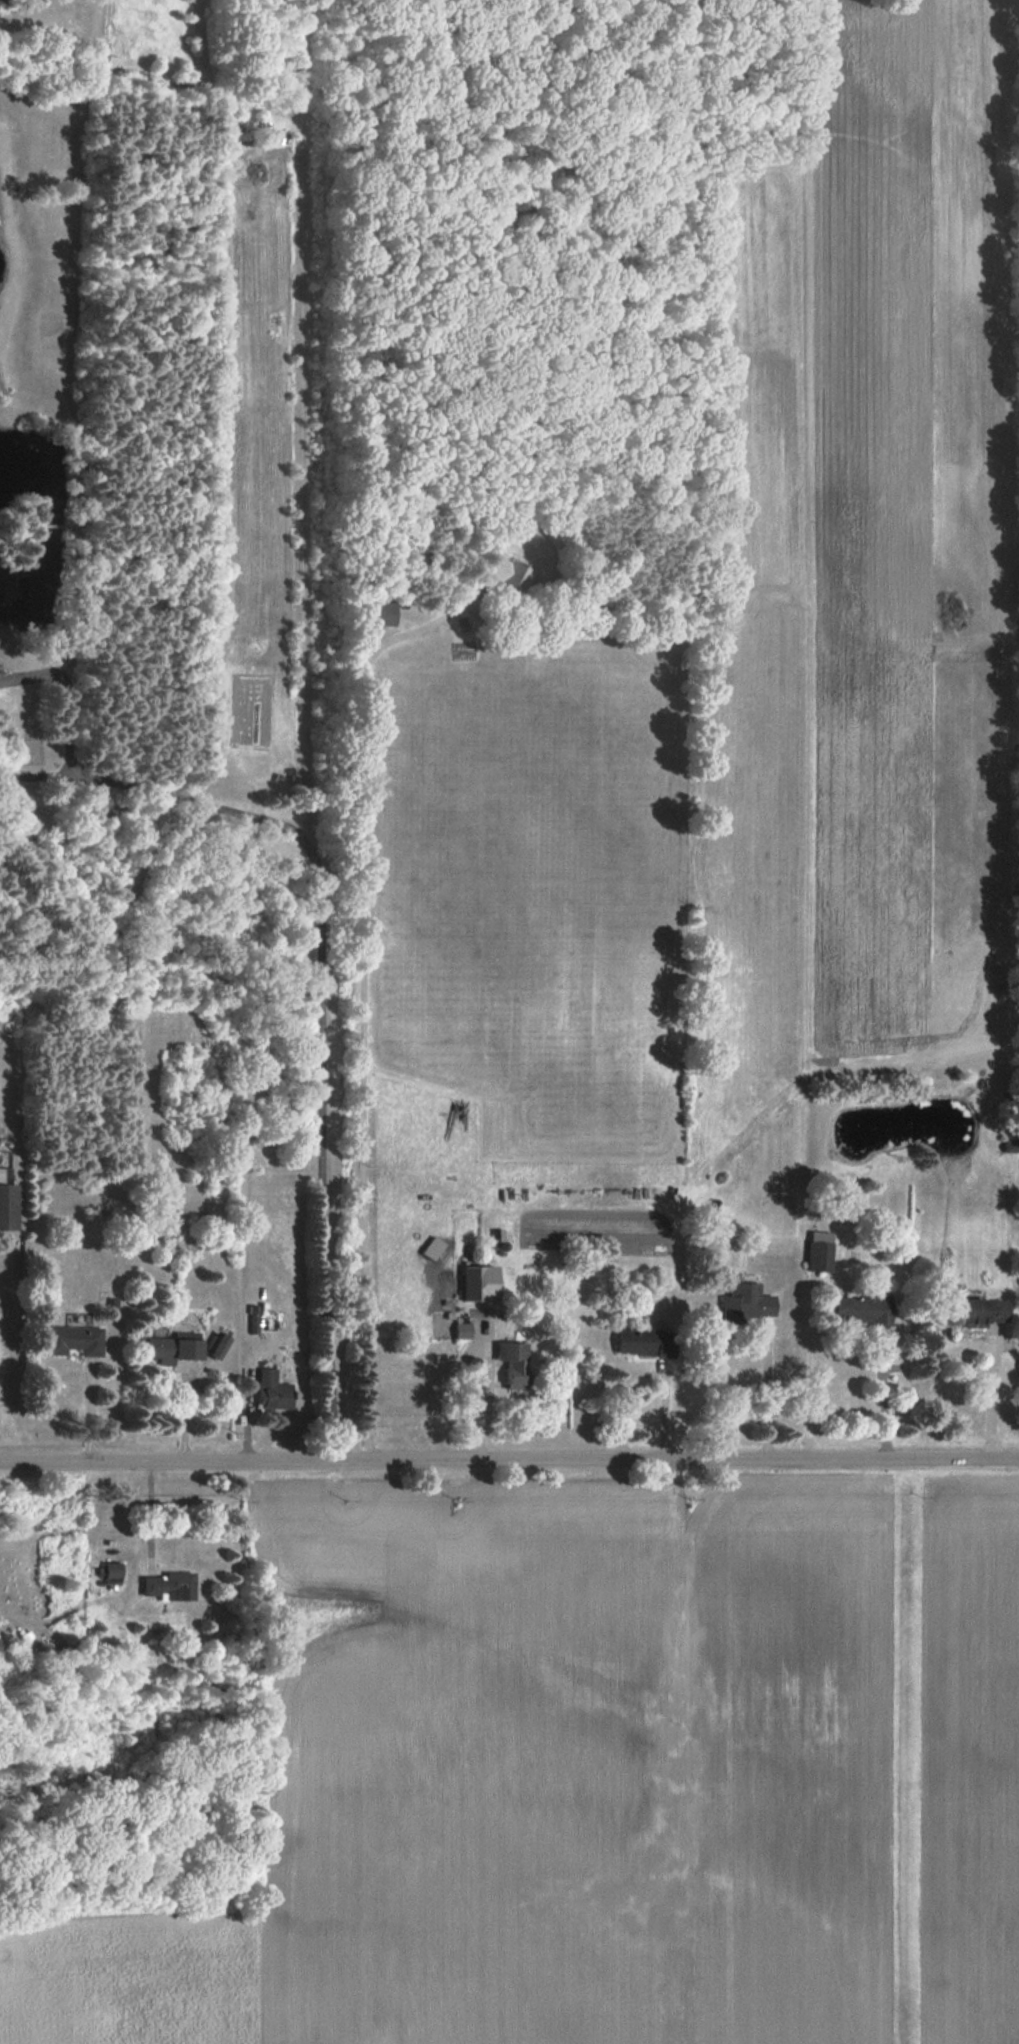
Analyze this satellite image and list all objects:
building: (506, 573)
building: (376, 613)
road: (69, 727)
road: (363, 994)
road: (323, 1025)
building: (7, 1200)
building: (819, 1251)
building: (479, 1283)
building: (745, 1303)
building: (860, 1309)
building: (983, 1311)
building: (462, 1330)
building: (72, 1340)
building: (644, 1341)
building: (218, 1346)
building: (173, 1348)
road: (475, 1350)
building: (513, 1362)
building: (272, 1390)
road: (764, 1393)
road: (991, 1396)
road: (881, 1401)
road: (509, 1460)
road: (151, 1514)
building: (112, 1570)
building: (170, 1585)
airport runway: (906, 1762)

